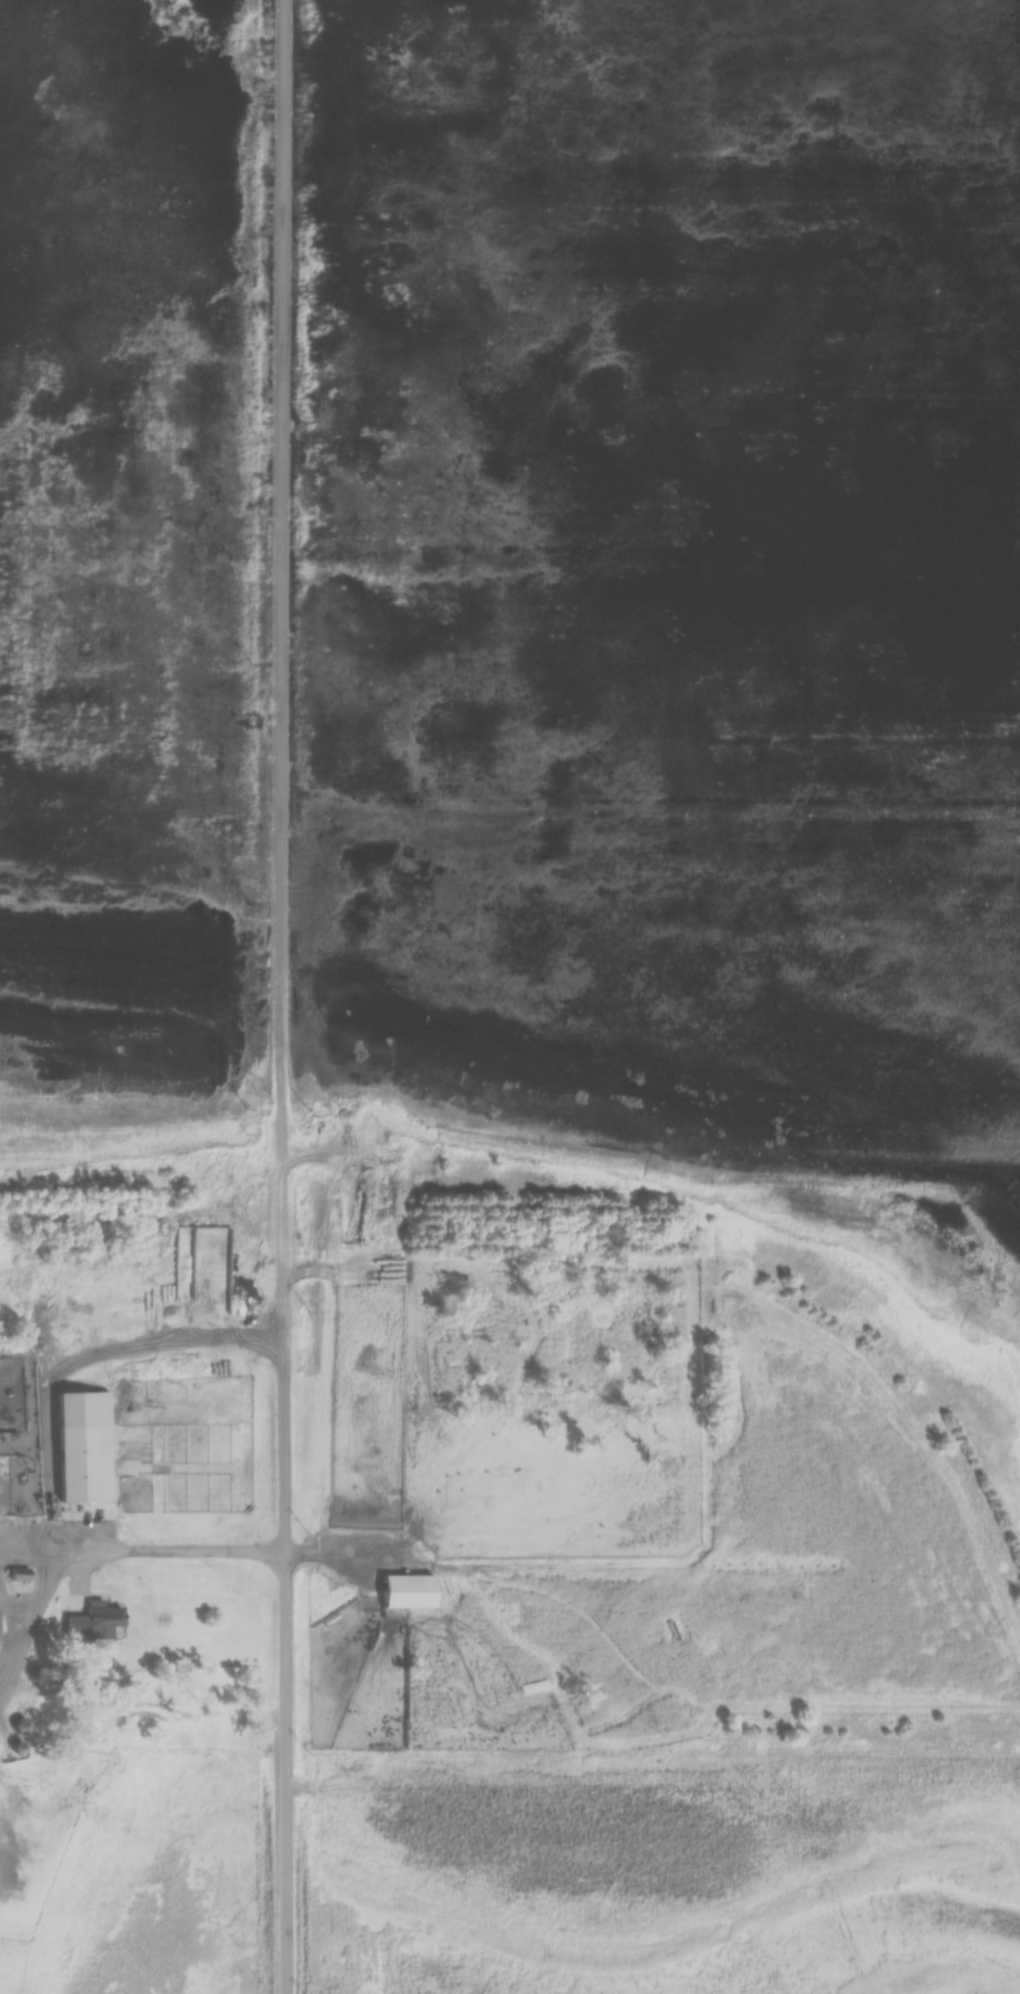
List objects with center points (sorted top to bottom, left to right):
road: (282, 997)
building: (352, 1213)
building: (84, 1465)
road: (99, 1556)
building: (407, 1592)
building: (366, 1604)
building: (96, 1624)
building: (20, 1728)
building: (734, 1745)

